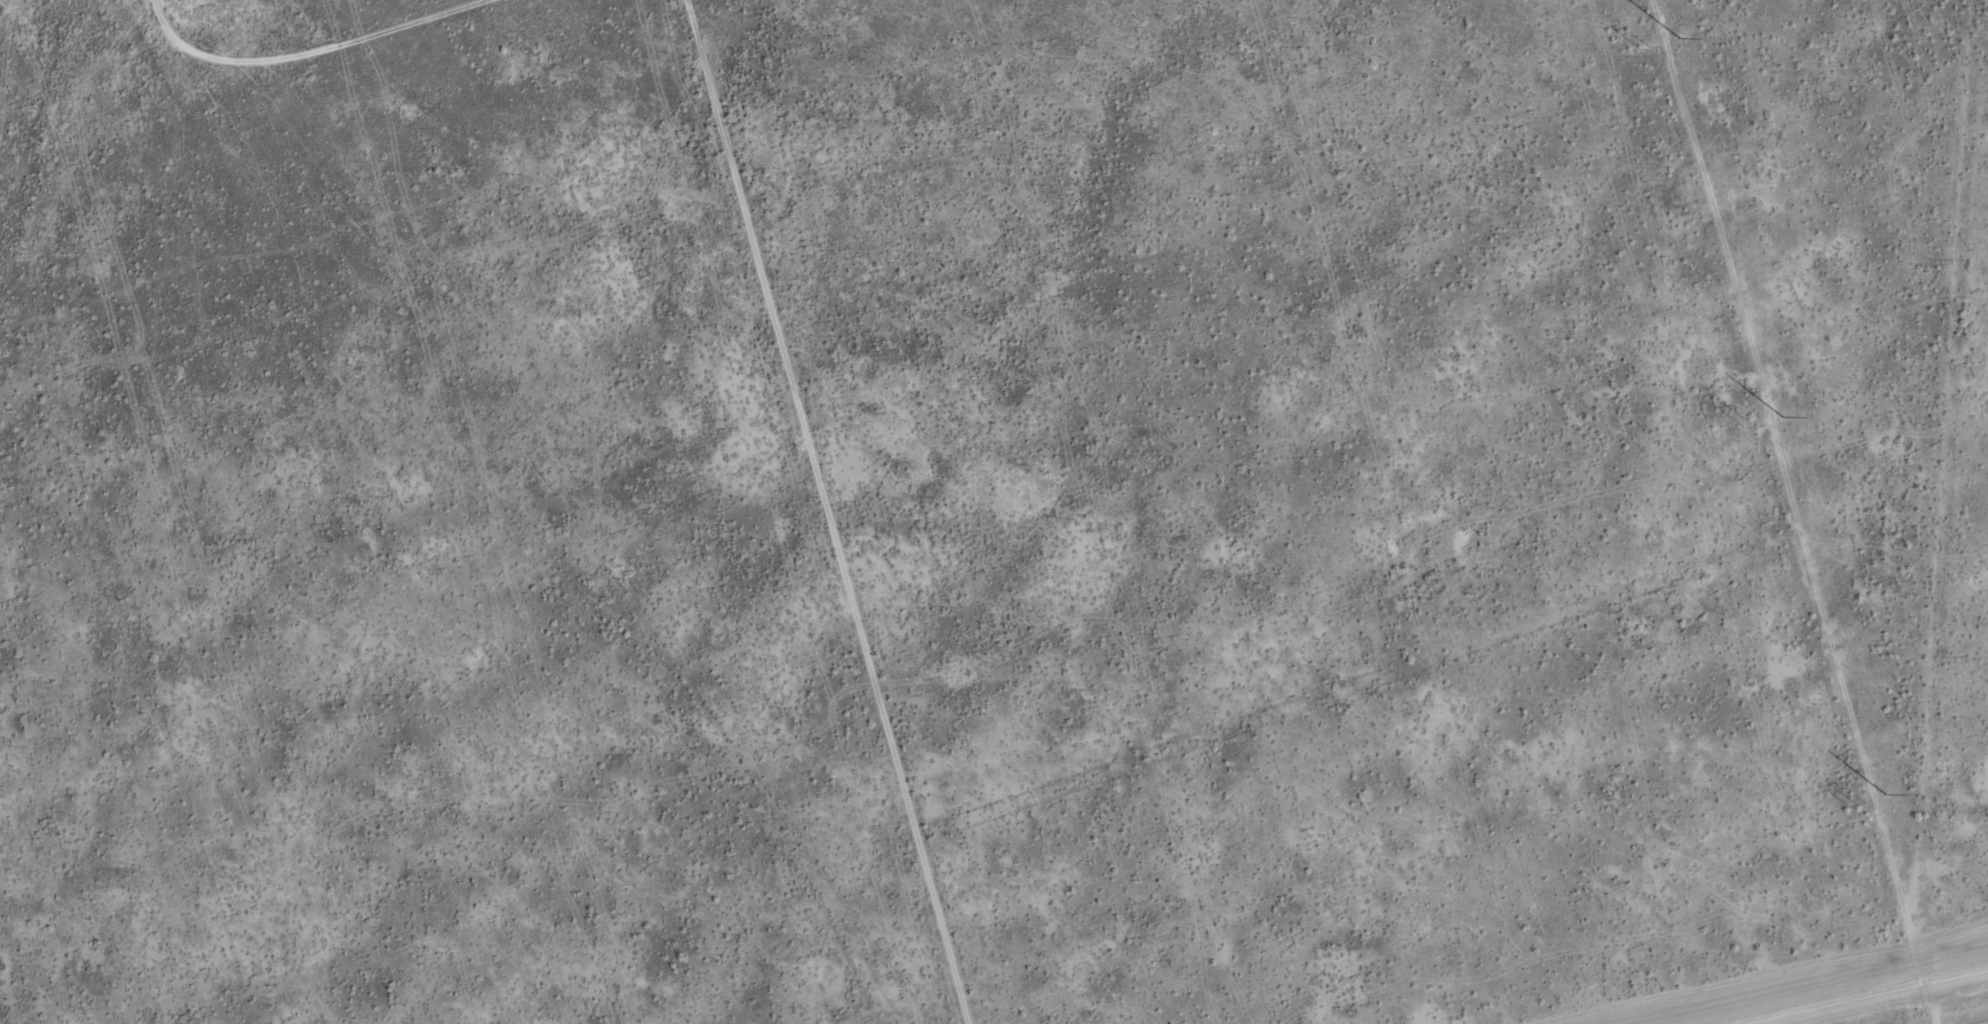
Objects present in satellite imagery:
power tower: (1678, 38)
power tower: (1642, 50)
power tower: (1782, 416)
power tower: (1747, 426)
power tower: (1885, 794)
power tower: (1849, 807)

